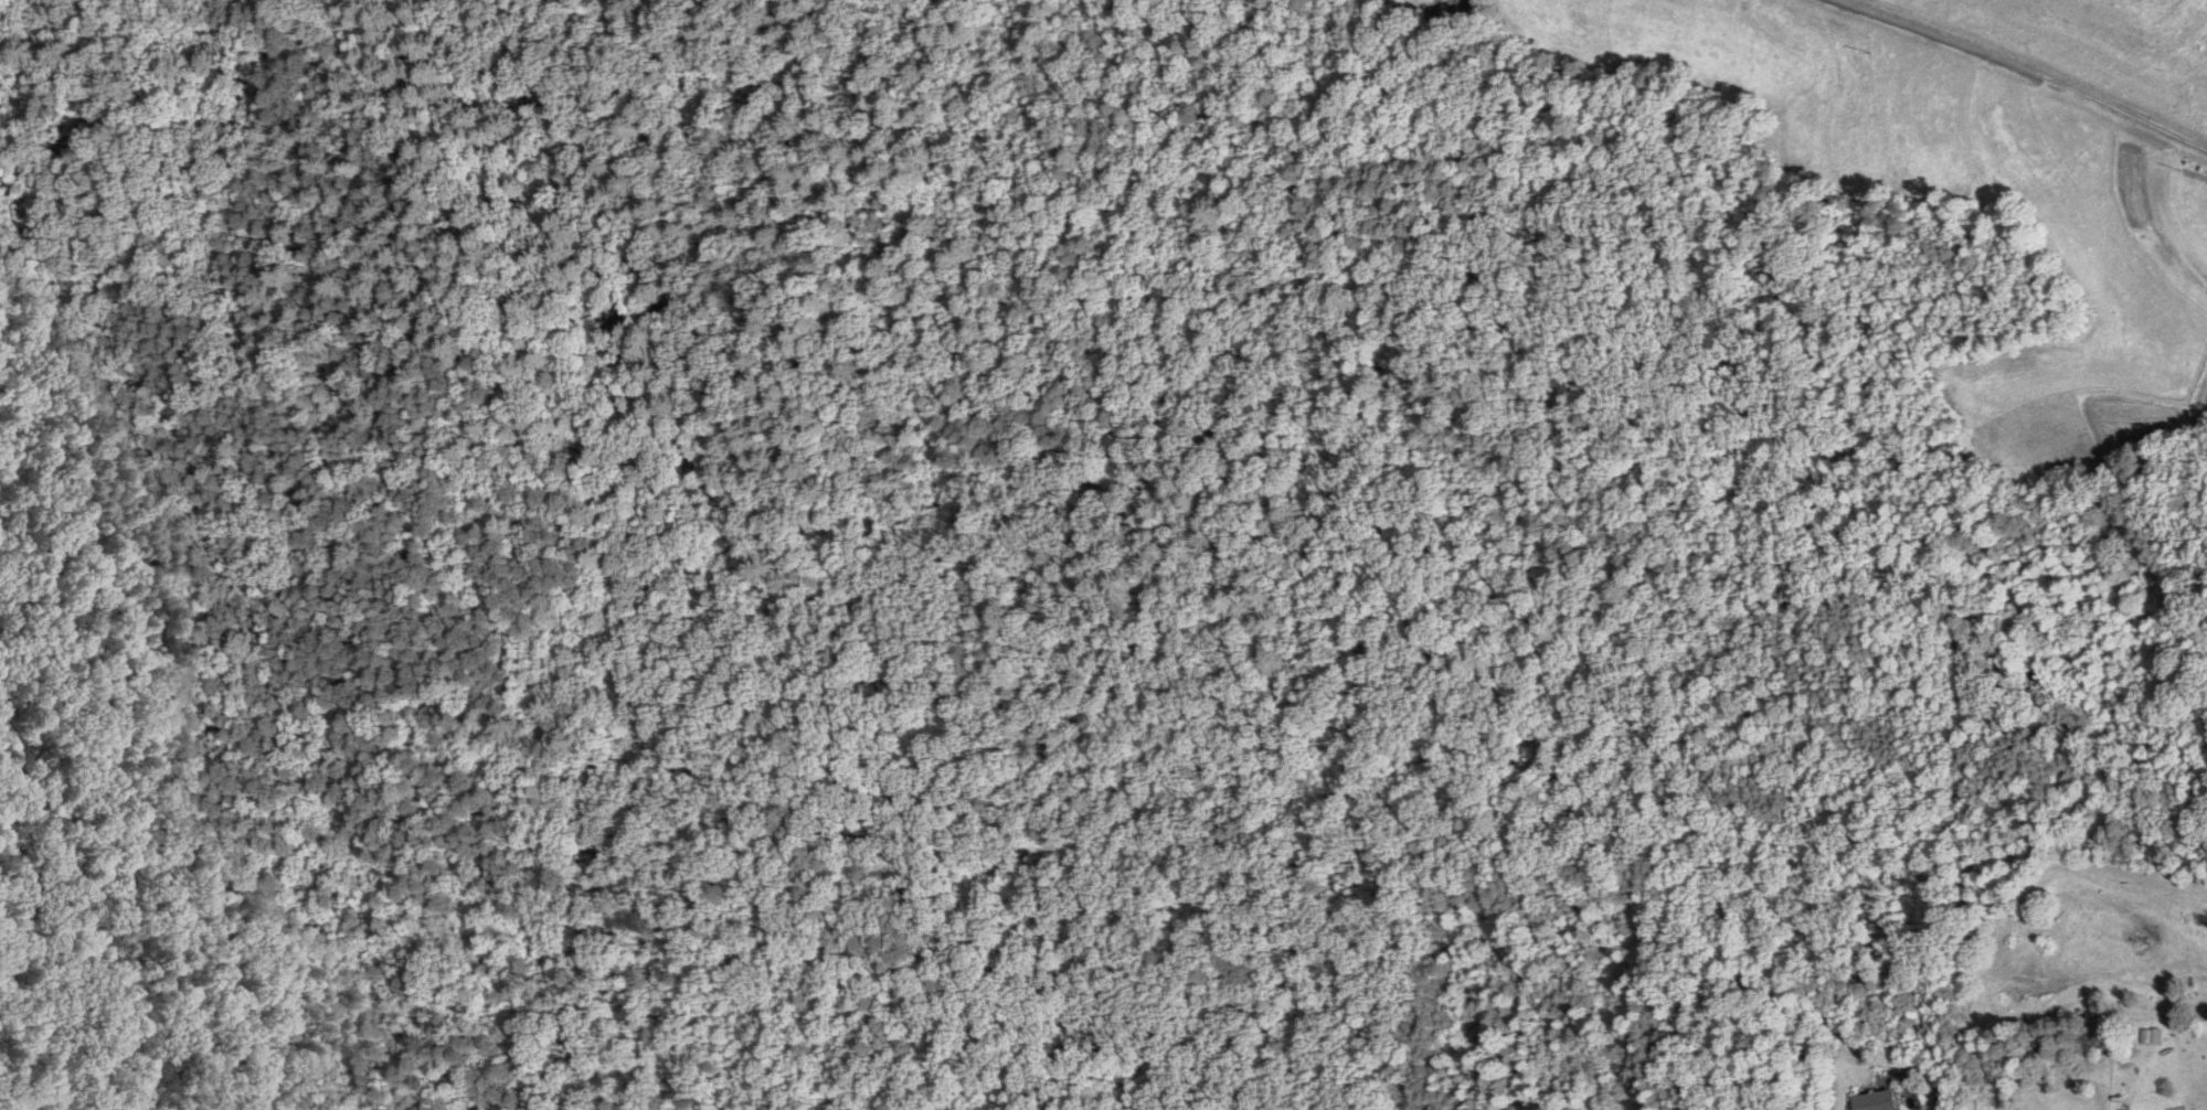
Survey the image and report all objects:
road: (2026, 68)
building: (1876, 1101)
road: (1914, 1107)

